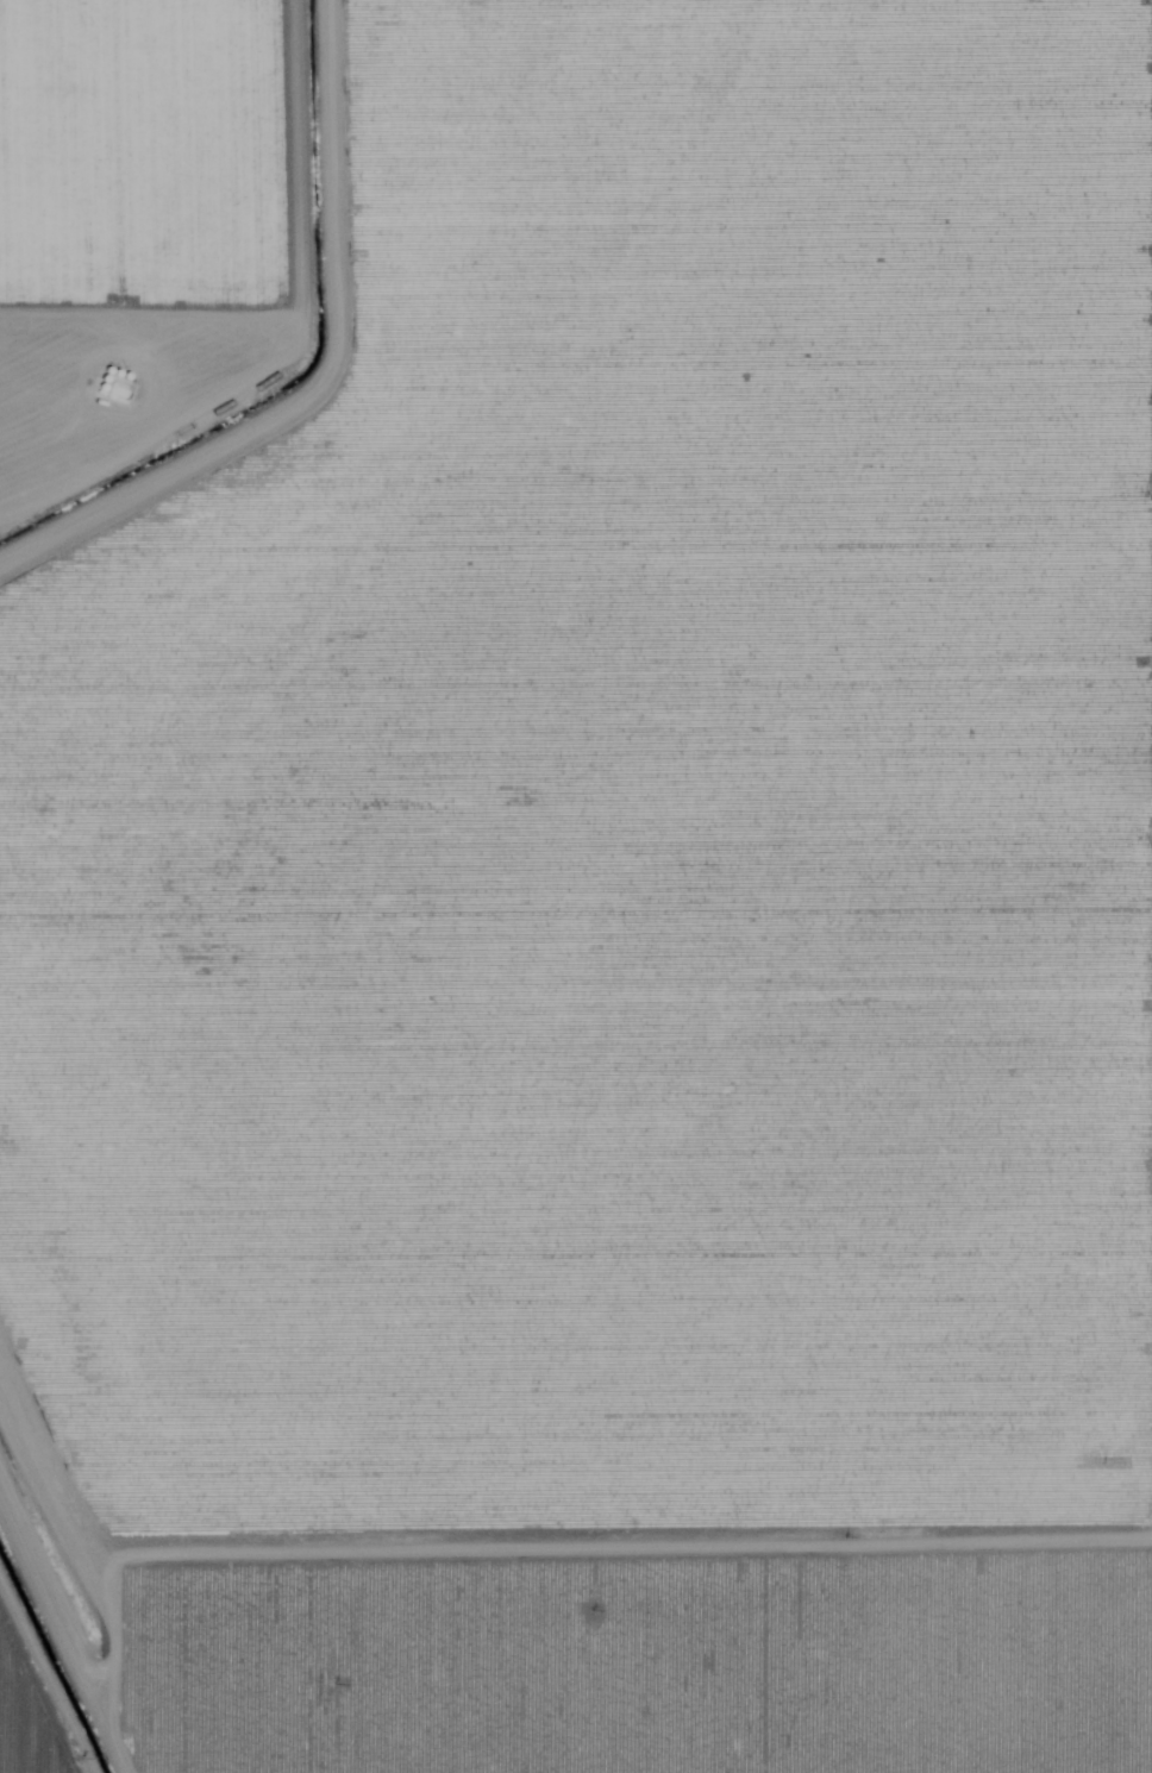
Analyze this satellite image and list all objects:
crop: (139, 243)
crop: (627, 938)
road: (95, 1553)
crop: (54, 1641)

